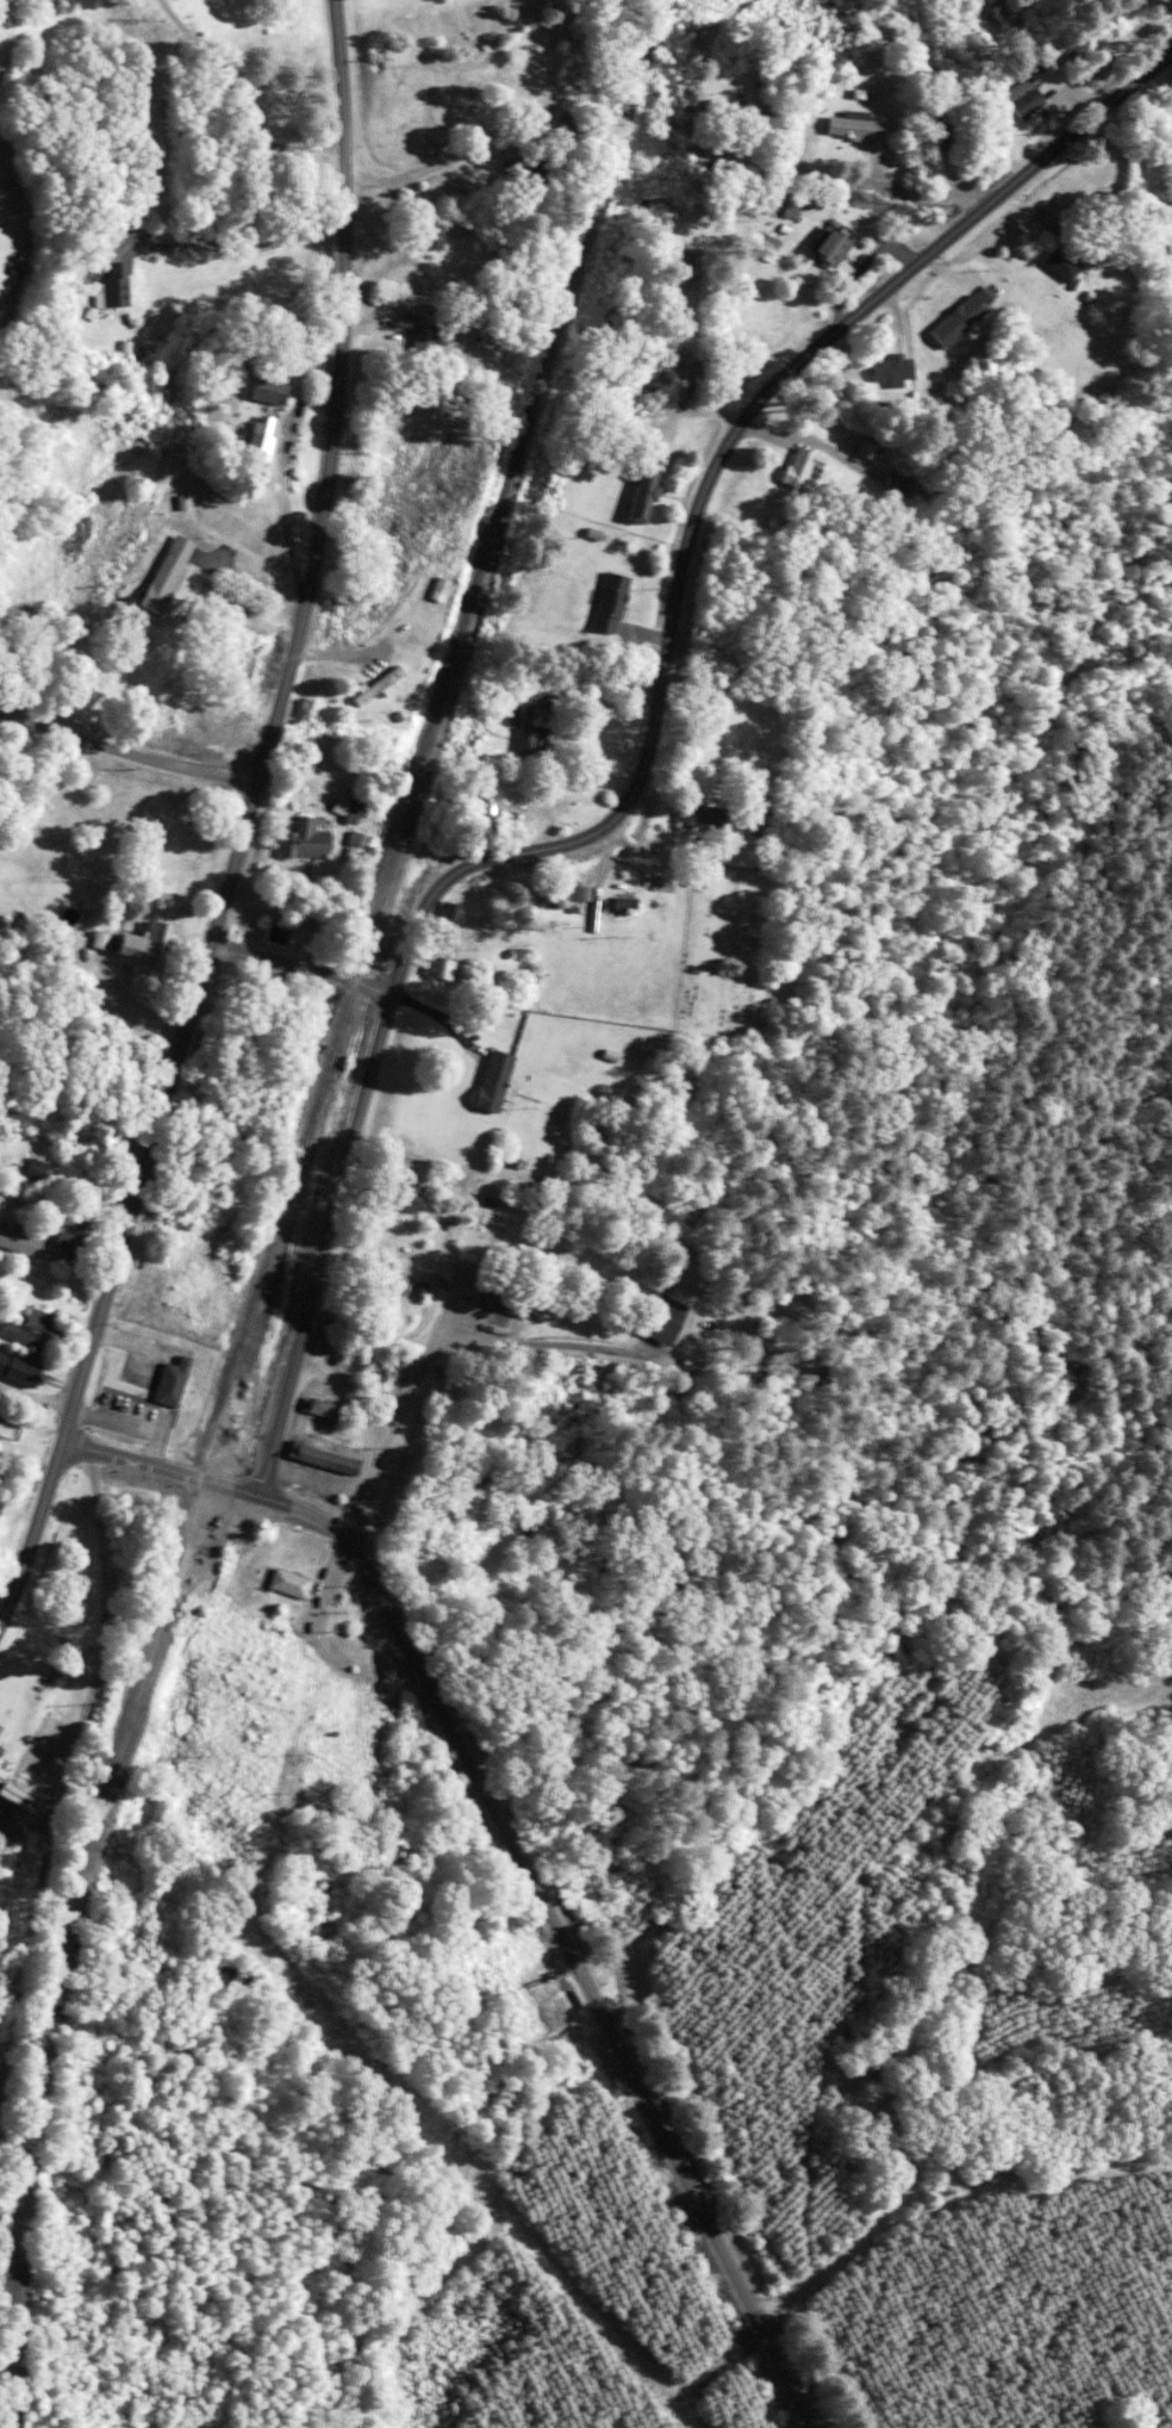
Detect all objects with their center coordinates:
building: (1018, 99)
road: (235, 108)
building: (728, 110)
building: (855, 129)
building: (943, 139)
building: (437, 232)
building: (830, 248)
building: (1058, 265)
building: (108, 292)
building: (955, 322)
building: (473, 325)
building: (419, 348)
building: (886, 370)
building: (649, 379)
building: (248, 446)
building: (796, 467)
building: (889, 485)
building: (637, 496)
building: (158, 576)
building: (606, 604)
building: (373, 687)
building: (524, 734)
road: (127, 752)
road: (648, 752)
building: (500, 793)
building: (700, 818)
road: (245, 825)
building: (300, 842)
building: (560, 894)
building: (623, 905)
building: (448, 911)
building: (275, 937)
building: (135, 944)
road: (301, 968)
building: (441, 969)
building: (490, 1082)
building: (30, 1169)
building: (400, 1197)
railway: (286, 1204)
building: (43, 1243)
building: (375, 1278)
building: (500, 1299)
building: (657, 1319)
building: (31, 1330)
road: (443, 1341)
building: (376, 1370)
building: (15, 1371)
building: (169, 1381)
road: (35, 1398)
building: (319, 1409)
building: (323, 1460)
road: (162, 1470)
building: (440, 1536)
building: (286, 1583)
building: (267, 1631)
building: (4, 1737)
road: (560, 1938)
building: (223, 1976)

